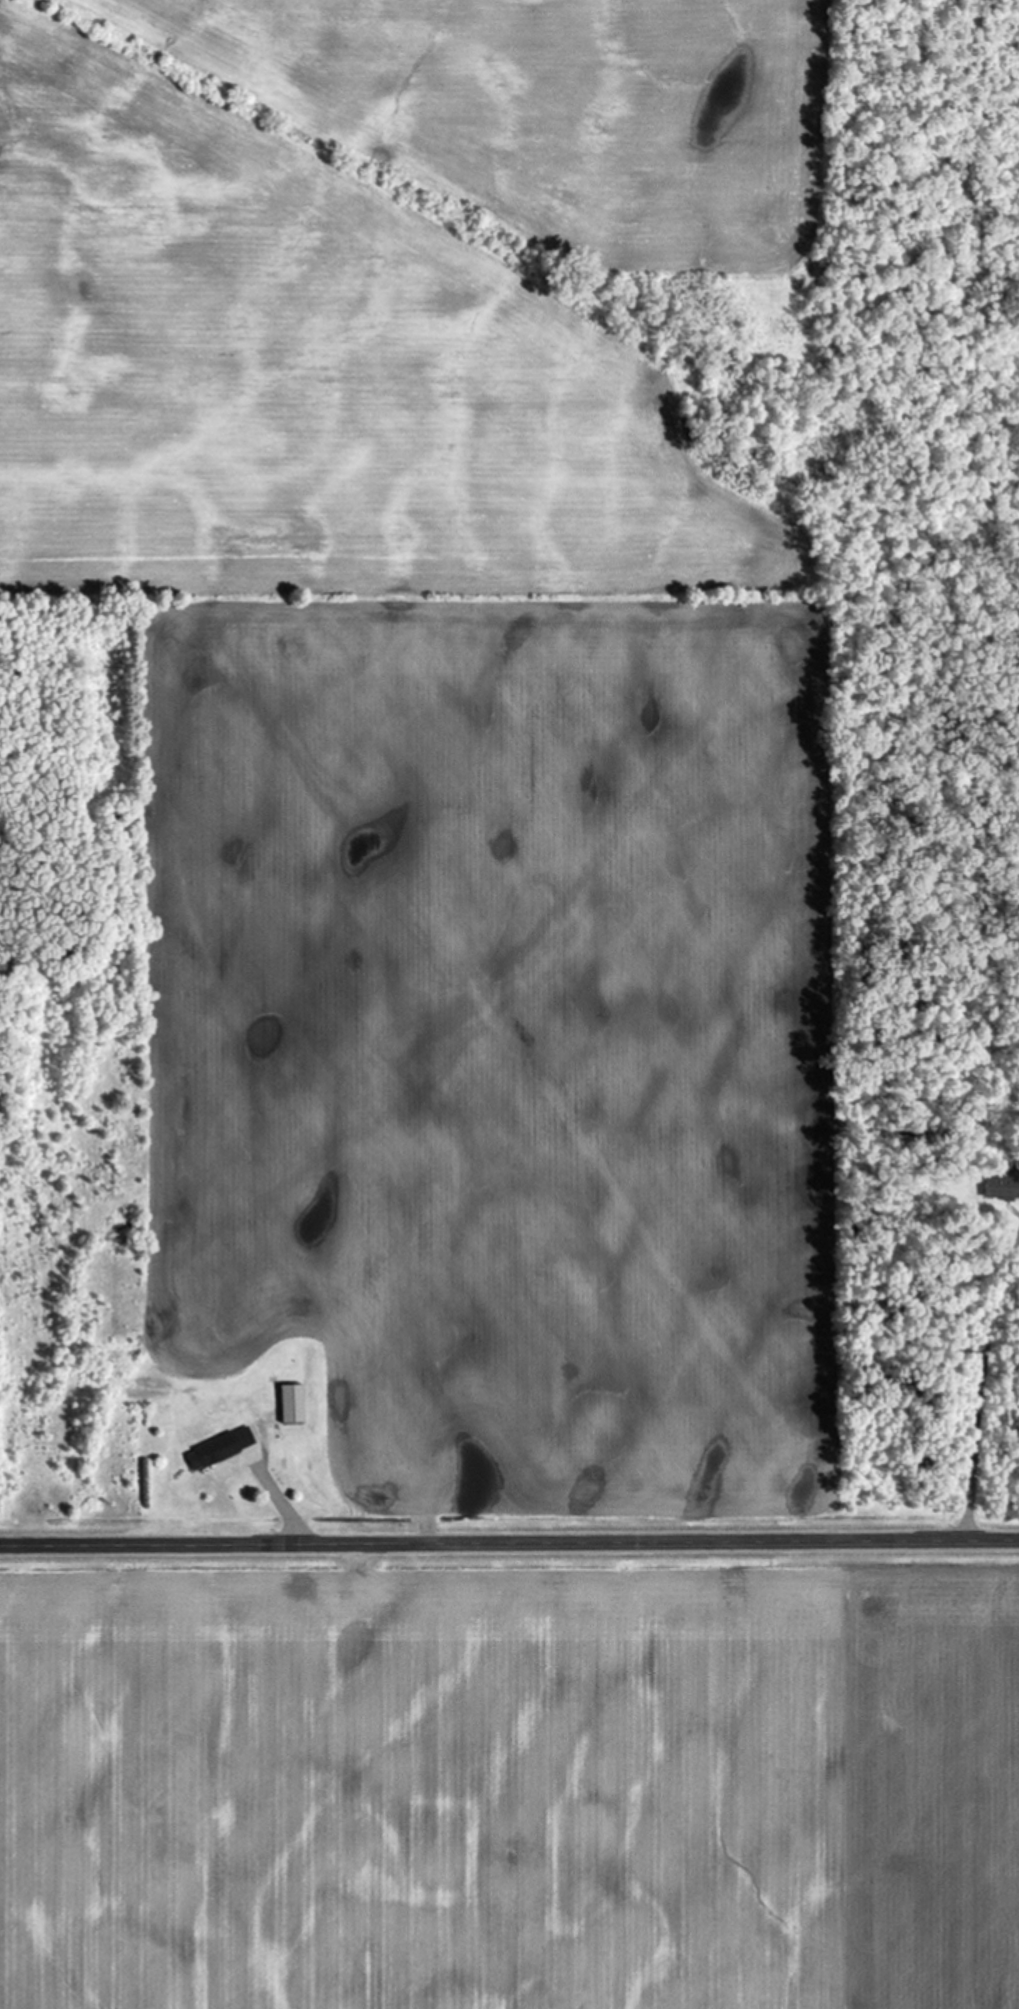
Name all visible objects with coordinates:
building: (1002, 1188)
road: (975, 1400)
building: (293, 1405)
building: (220, 1449)
road: (288, 1512)
road: (509, 1541)

